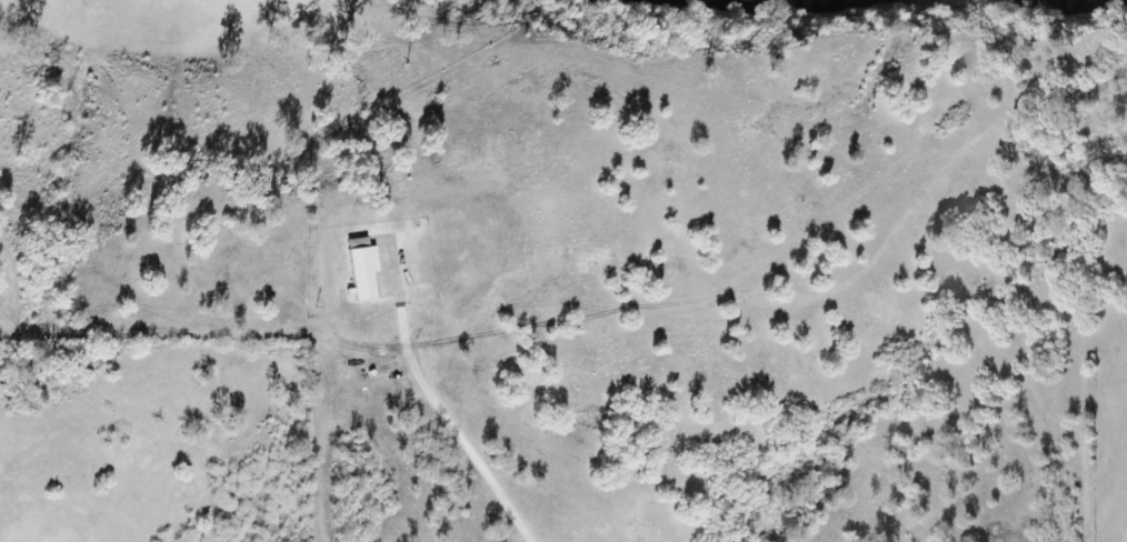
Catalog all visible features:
building: (362, 271)

